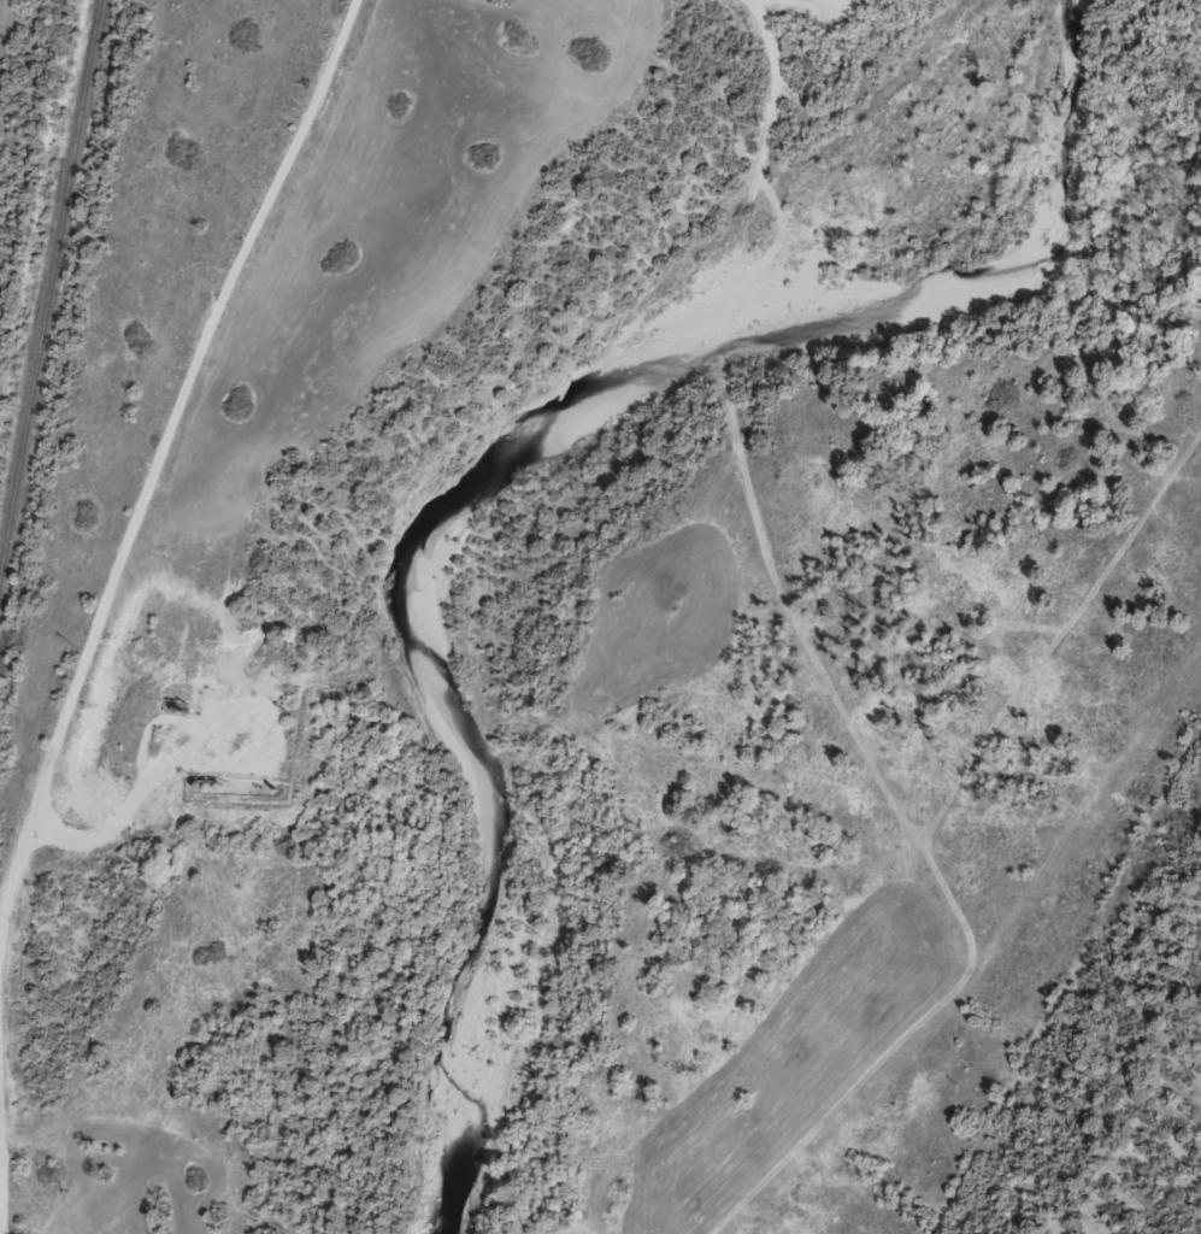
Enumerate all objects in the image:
railway: (45, 265)
road: (155, 464)
road: (822, 672)
road: (1034, 1045)
road: (0, 1140)
road: (1, 1173)

